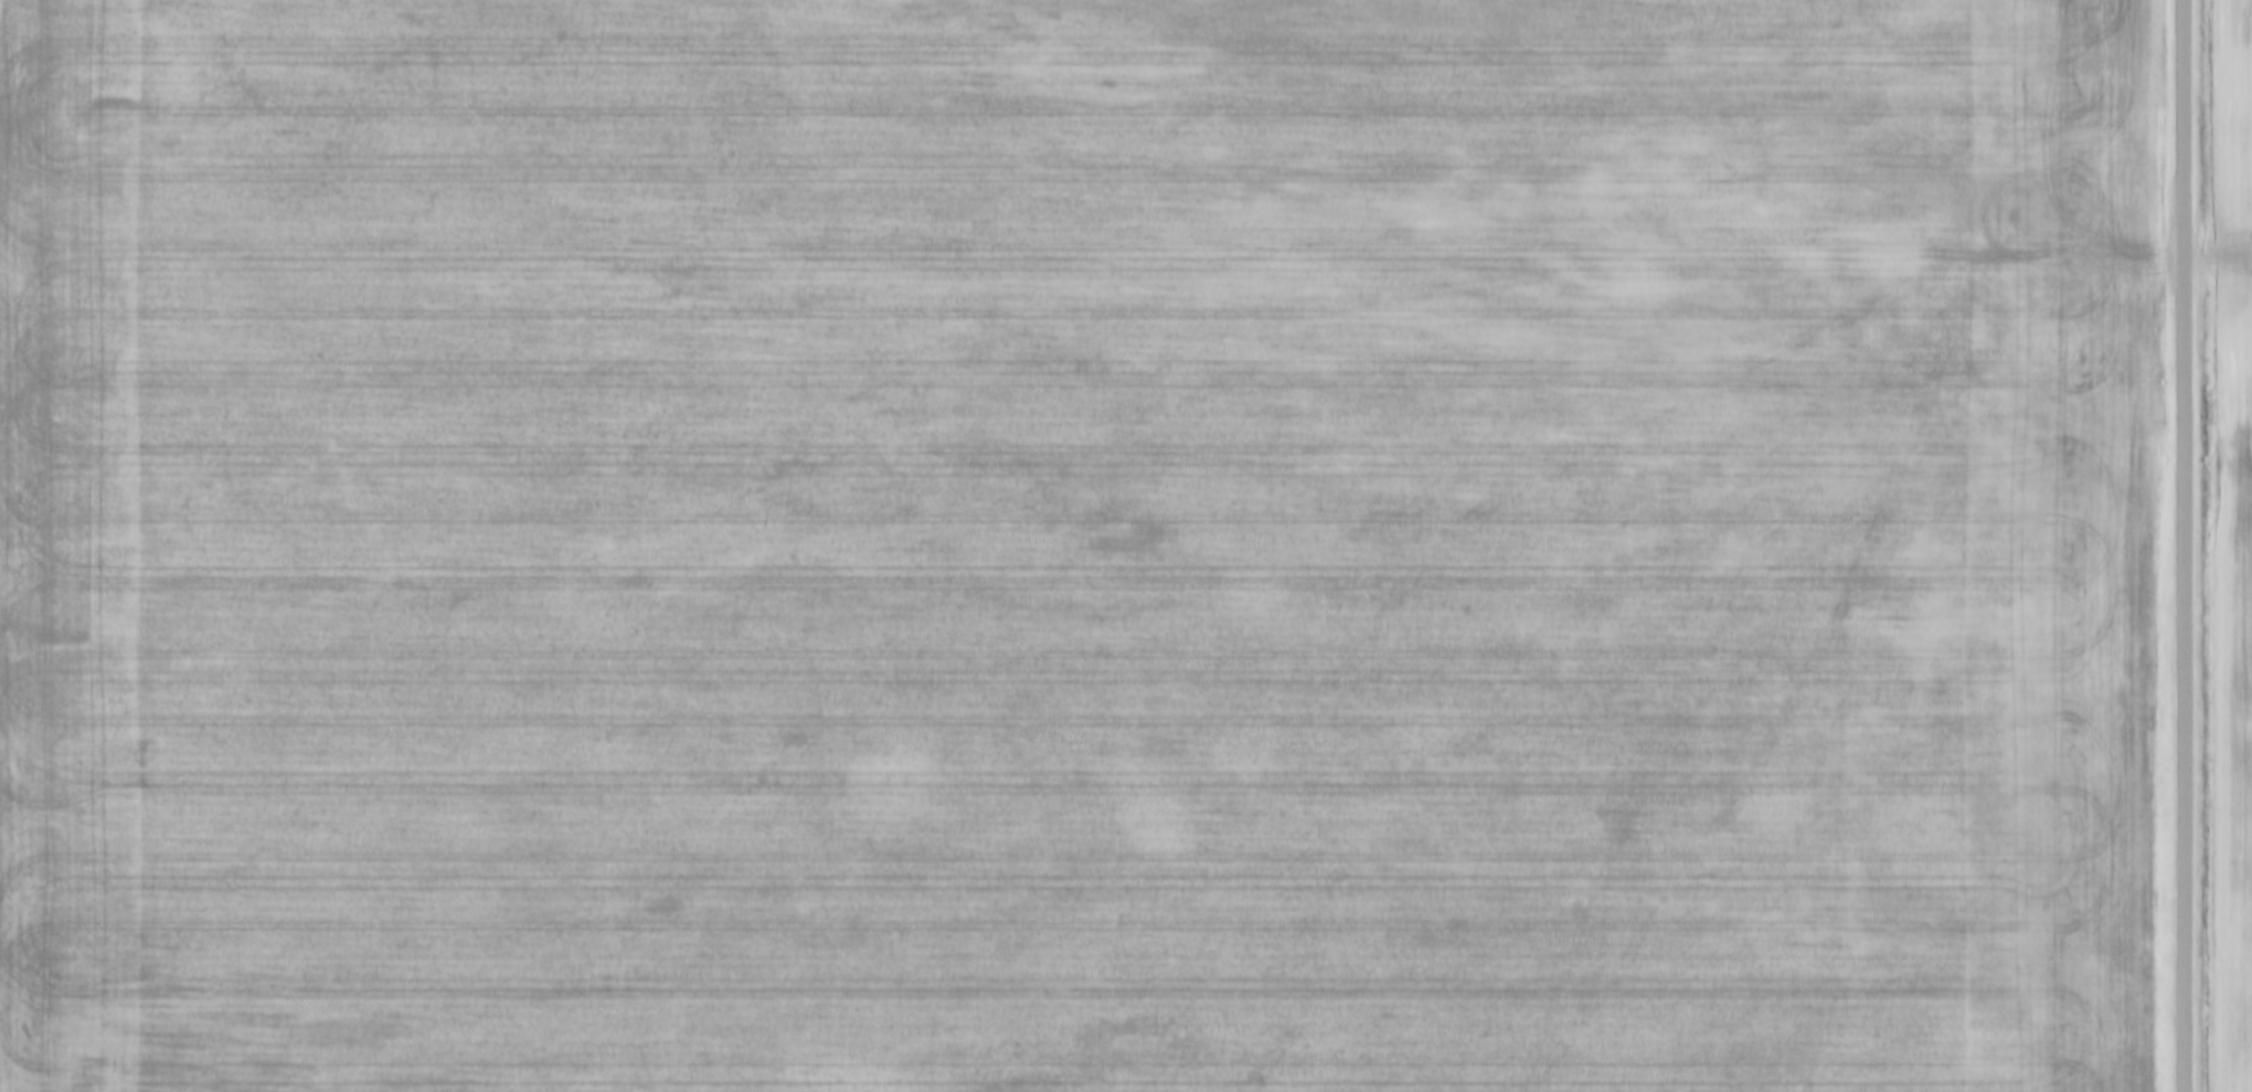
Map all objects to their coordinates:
road: (2190, 545)

